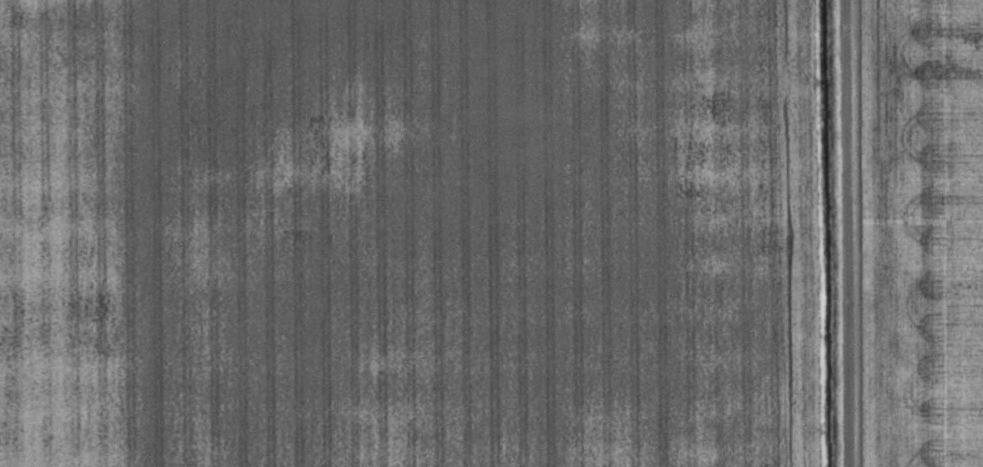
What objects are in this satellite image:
crop: (918, 232)
crop: (411, 233)
road: (843, 233)

